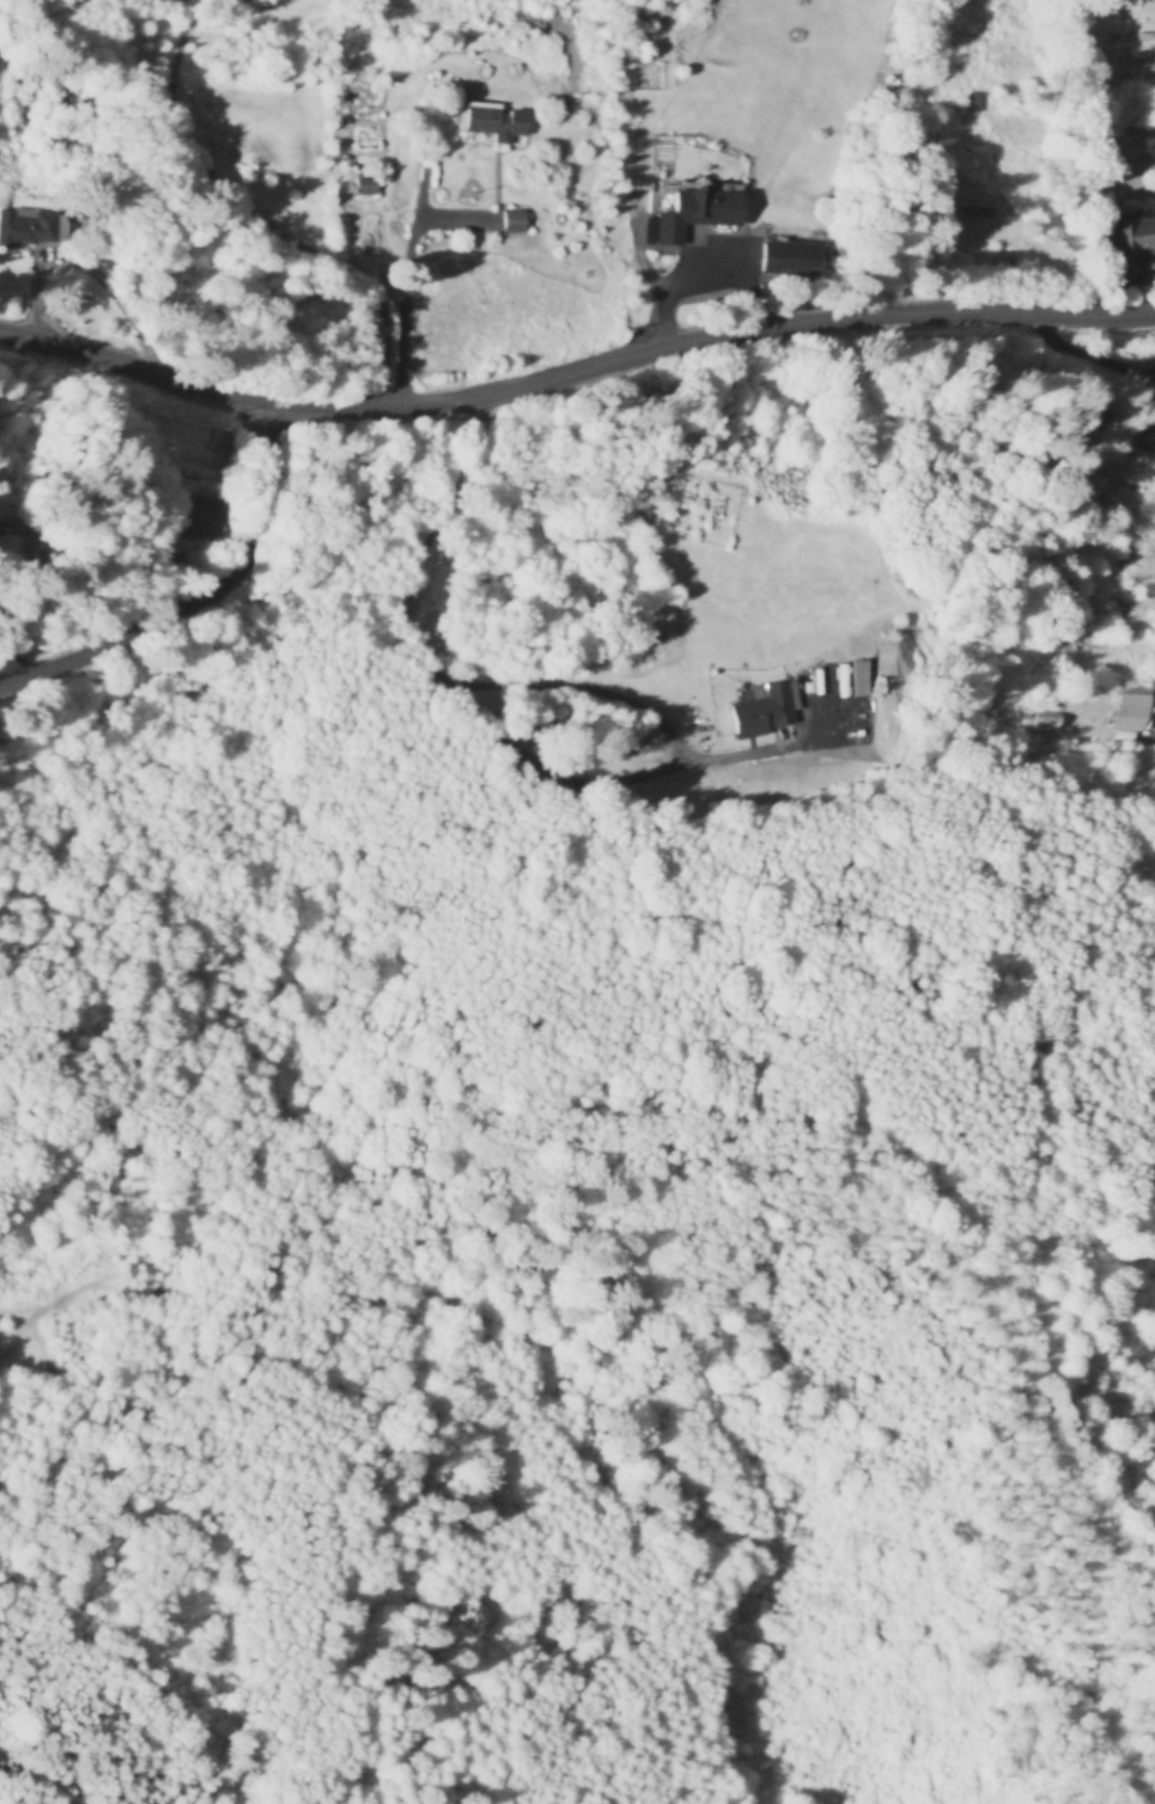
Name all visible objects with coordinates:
building: (1144, 36)
building: (969, 99)
building: (494, 122)
building: (965, 200)
building: (694, 214)
building: (509, 221)
building: (25, 227)
building: (1127, 243)
building: (786, 259)
road: (220, 262)
road: (1084, 354)
road: (573, 366)
building: (218, 521)
building: (22, 530)
road: (205, 597)
road: (451, 684)
building: (1138, 711)
building: (760, 712)

